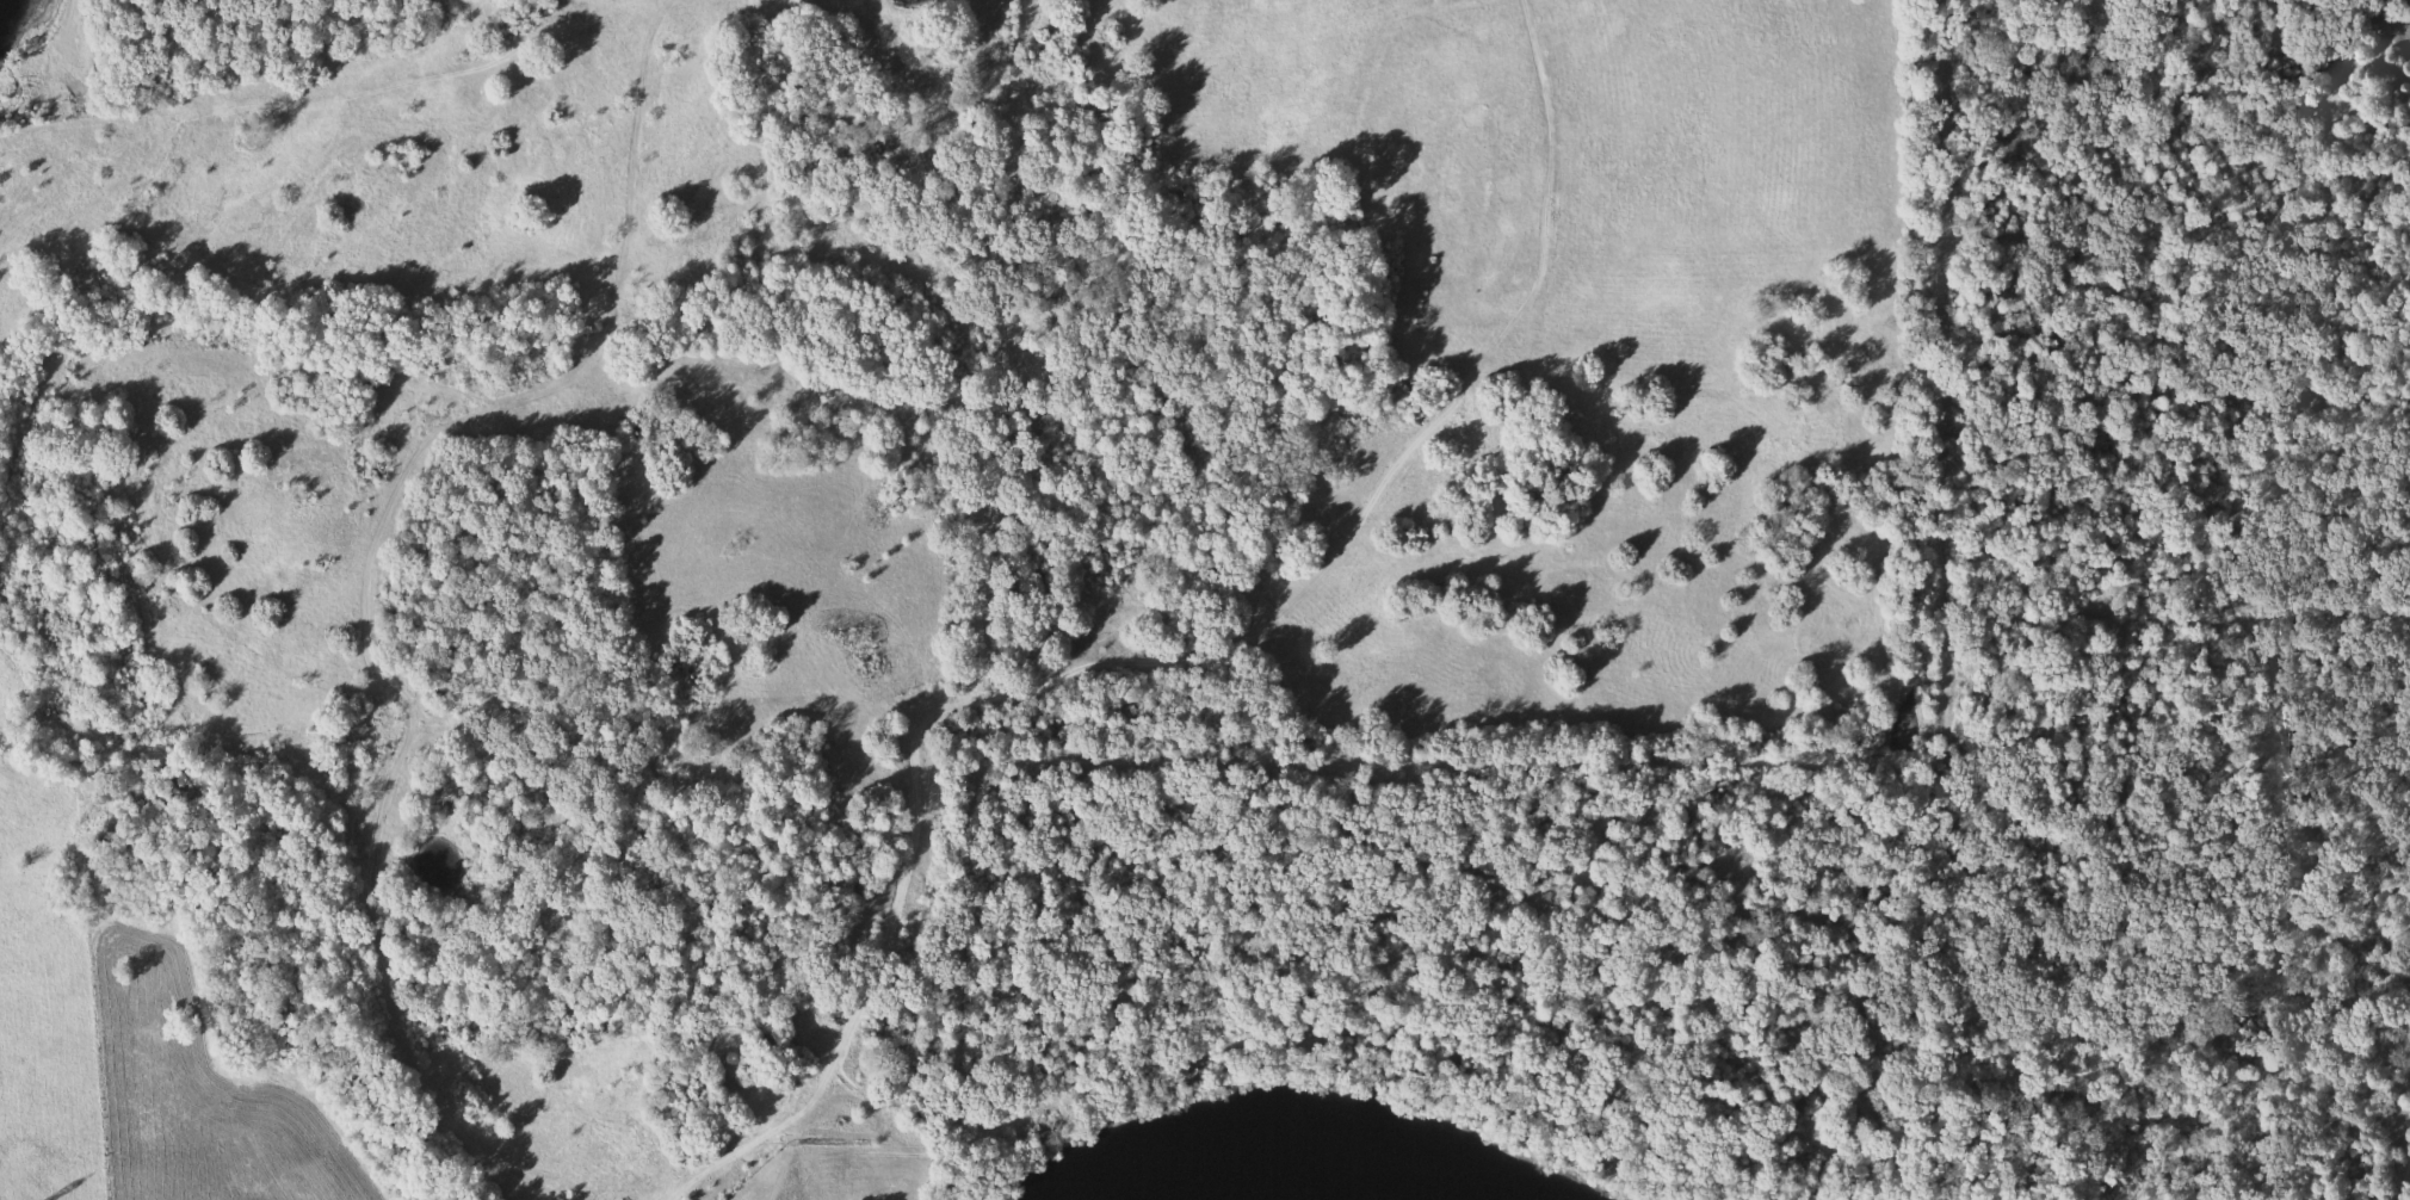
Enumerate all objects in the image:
road: (315, 128)

